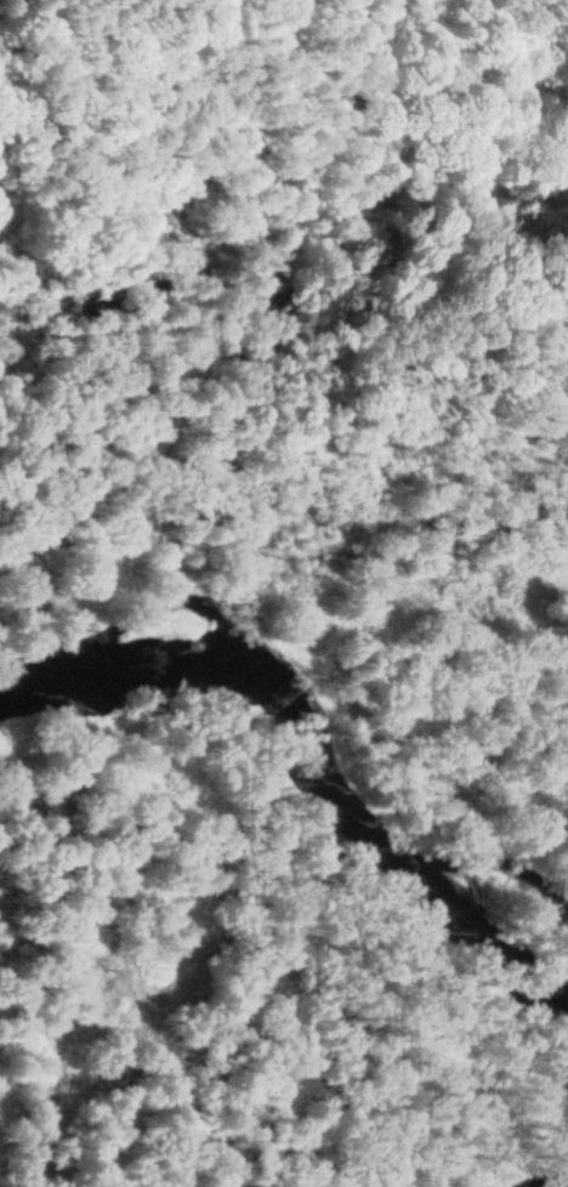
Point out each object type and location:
river: (308, 762)

